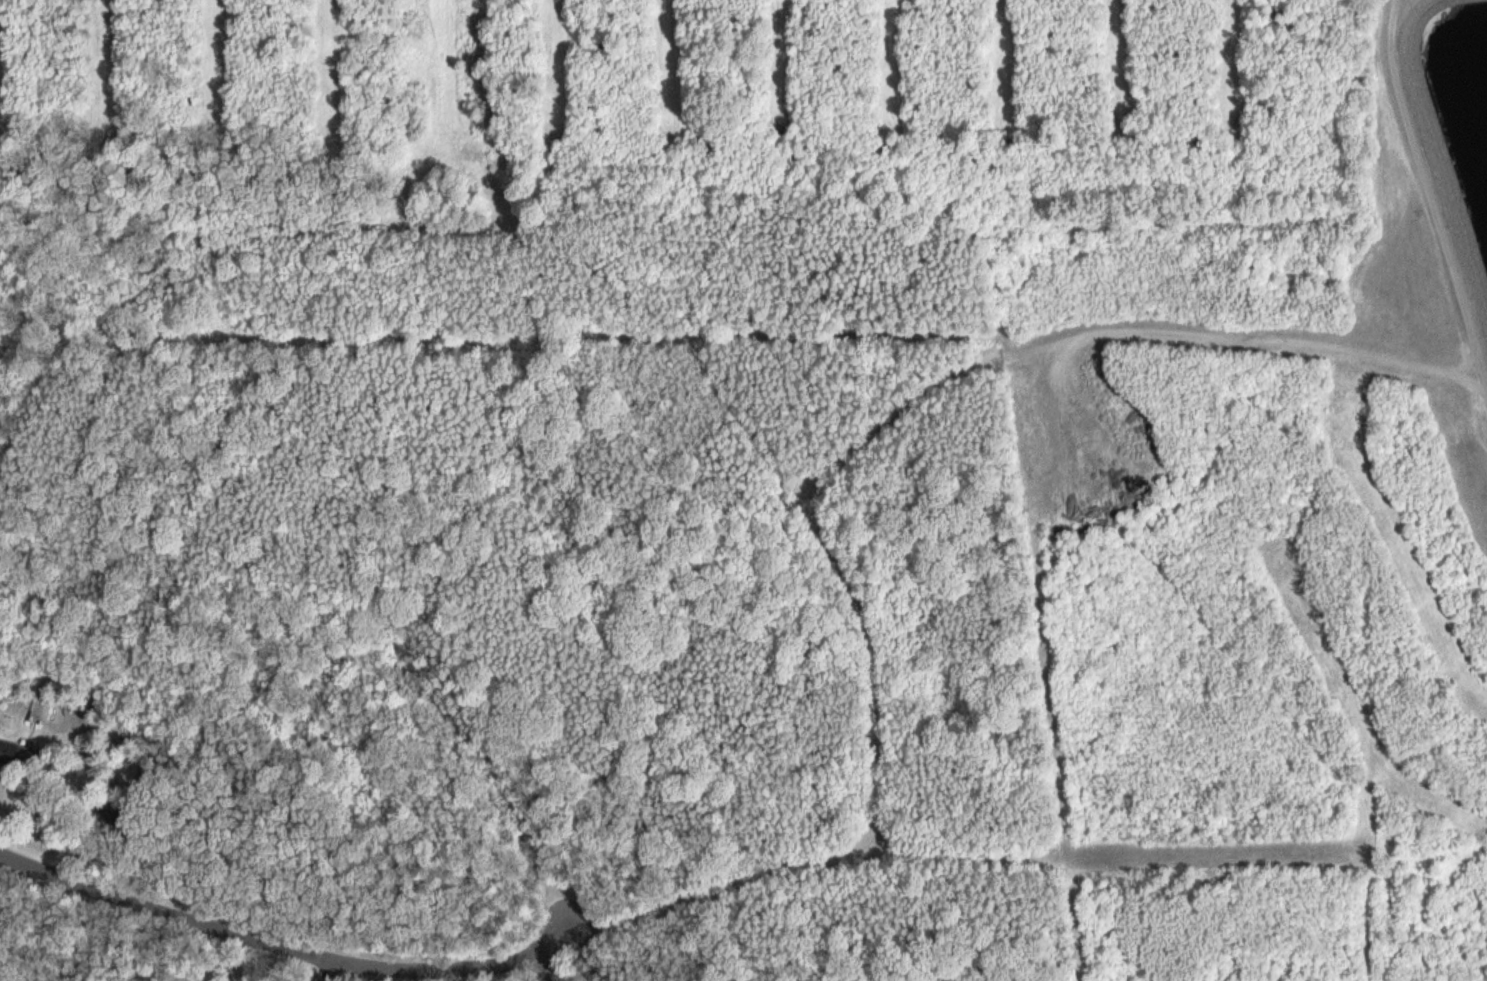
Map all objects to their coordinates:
wastewater plant: (1428, 359)
building: (14, 753)
road: (681, 901)

